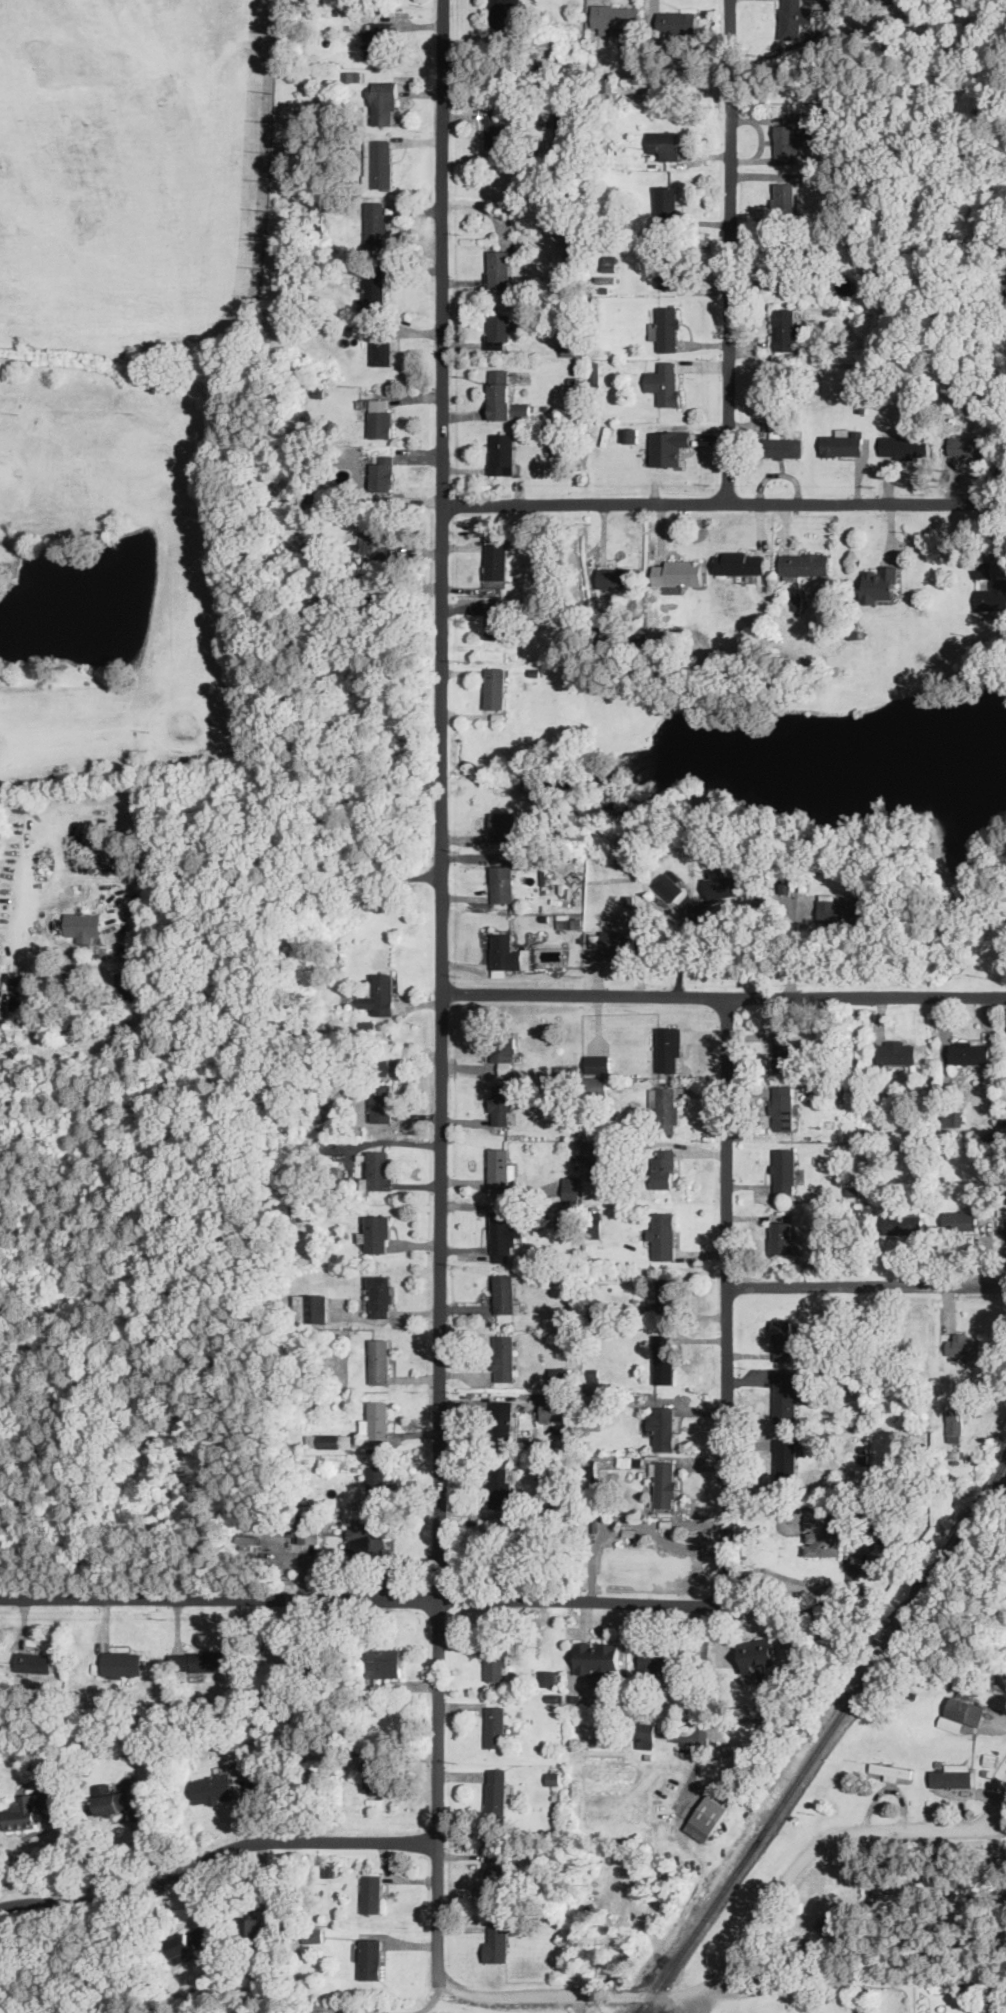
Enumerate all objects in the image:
building: (502, 15)
building: (616, 16)
building: (792, 19)
building: (678, 21)
building: (378, 38)
building: (383, 102)
building: (564, 121)
building: (496, 132)
building: (664, 143)
building: (789, 143)
building: (381, 163)
building: (785, 195)
building: (667, 199)
building: (376, 224)
road: (732, 251)
building: (499, 267)
building: (788, 267)
building: (668, 269)
building: (872, 274)
building: (374, 290)
building: (666, 328)
building: (787, 328)
building: (499, 330)
building: (572, 345)
building: (382, 347)
building: (595, 372)
building: (665, 382)
building: (504, 396)
building: (380, 417)
building: (549, 431)
building: (630, 434)
building: (781, 439)
building: (843, 441)
building: (968, 445)
building: (669, 446)
building: (905, 446)
building: (502, 453)
building: (383, 472)
road: (725, 503)
building: (373, 541)
building: (741, 562)
building: (496, 563)
building: (804, 563)
building: (982, 568)
building: (678, 572)
building: (616, 578)
building: (881, 583)
building: (992, 595)
building: (496, 621)
building: (496, 687)
building: (504, 825)
road: (267, 832)
building: (502, 882)
building: (668, 884)
building: (722, 885)
building: (847, 909)
building: (84, 925)
building: (618, 940)
building: (508, 952)
building: (125, 985)
building: (380, 993)
road: (724, 995)
road: (443, 998)
building: (0, 1026)
building: (21, 1028)
building: (504, 1046)
building: (669, 1048)
building: (784, 1050)
building: (969, 1051)
building: (901, 1053)
building: (598, 1062)
building: (599, 1084)
building: (382, 1101)
building: (502, 1103)
building: (665, 1107)
building: (783, 1107)
building: (958, 1117)
building: (595, 1151)
building: (664, 1165)
building: (501, 1167)
building: (784, 1169)
building: (379, 1170)
building: (572, 1185)
building: (961, 1218)
building: (859, 1220)
building: (903, 1223)
building: (377, 1233)
building: (504, 1234)
building: (662, 1237)
building: (782, 1237)
road: (866, 1285)
building: (505, 1293)
building: (379, 1295)
building: (668, 1298)
road: (727, 1298)
building: (311, 1307)
building: (599, 1313)
building: (783, 1339)
building: (964, 1343)
building: (664, 1352)
building: (505, 1357)
building: (380, 1360)
building: (561, 1374)
building: (788, 1394)
building: (552, 1406)
building: (505, 1418)
building: (378, 1419)
building: (955, 1424)
building: (662, 1426)
building: (330, 1440)
building: (786, 1458)
building: (377, 1482)
building: (665, 1483)
building: (500, 1487)
road: (628, 1521)
building: (310, 1532)
building: (832, 1533)
building: (368, 1537)
road: (681, 1544)
road: (359, 1596)
building: (756, 1653)
building: (598, 1657)
building: (310, 1658)
building: (657, 1660)
building: (35, 1661)
building: (198, 1661)
building: (121, 1662)
building: (383, 1662)
building: (496, 1662)
building: (552, 1676)
road: (703, 1699)
building: (965, 1710)
building: (951, 1723)
building: (495, 1725)
building: (645, 1735)
railway: (825, 1737)
building: (892, 1770)
building: (375, 1775)
building: (952, 1775)
building: (213, 1788)
building: (496, 1792)
building: (48, 1797)
building: (112, 1799)
building: (22, 1812)
road: (997, 1812)
building: (707, 1818)
road: (214, 1854)
building: (495, 1868)
building: (958, 1891)
building: (372, 1892)
building: (897, 1895)
building: (831, 1919)
building: (254, 1927)
building: (313, 1935)
building: (189, 1941)
building: (497, 1941)
road: (745, 1944)
building: (370, 1957)
road: (851, 1977)
road: (432, 2000)
road: (580, 2002)
road: (703, 2004)

